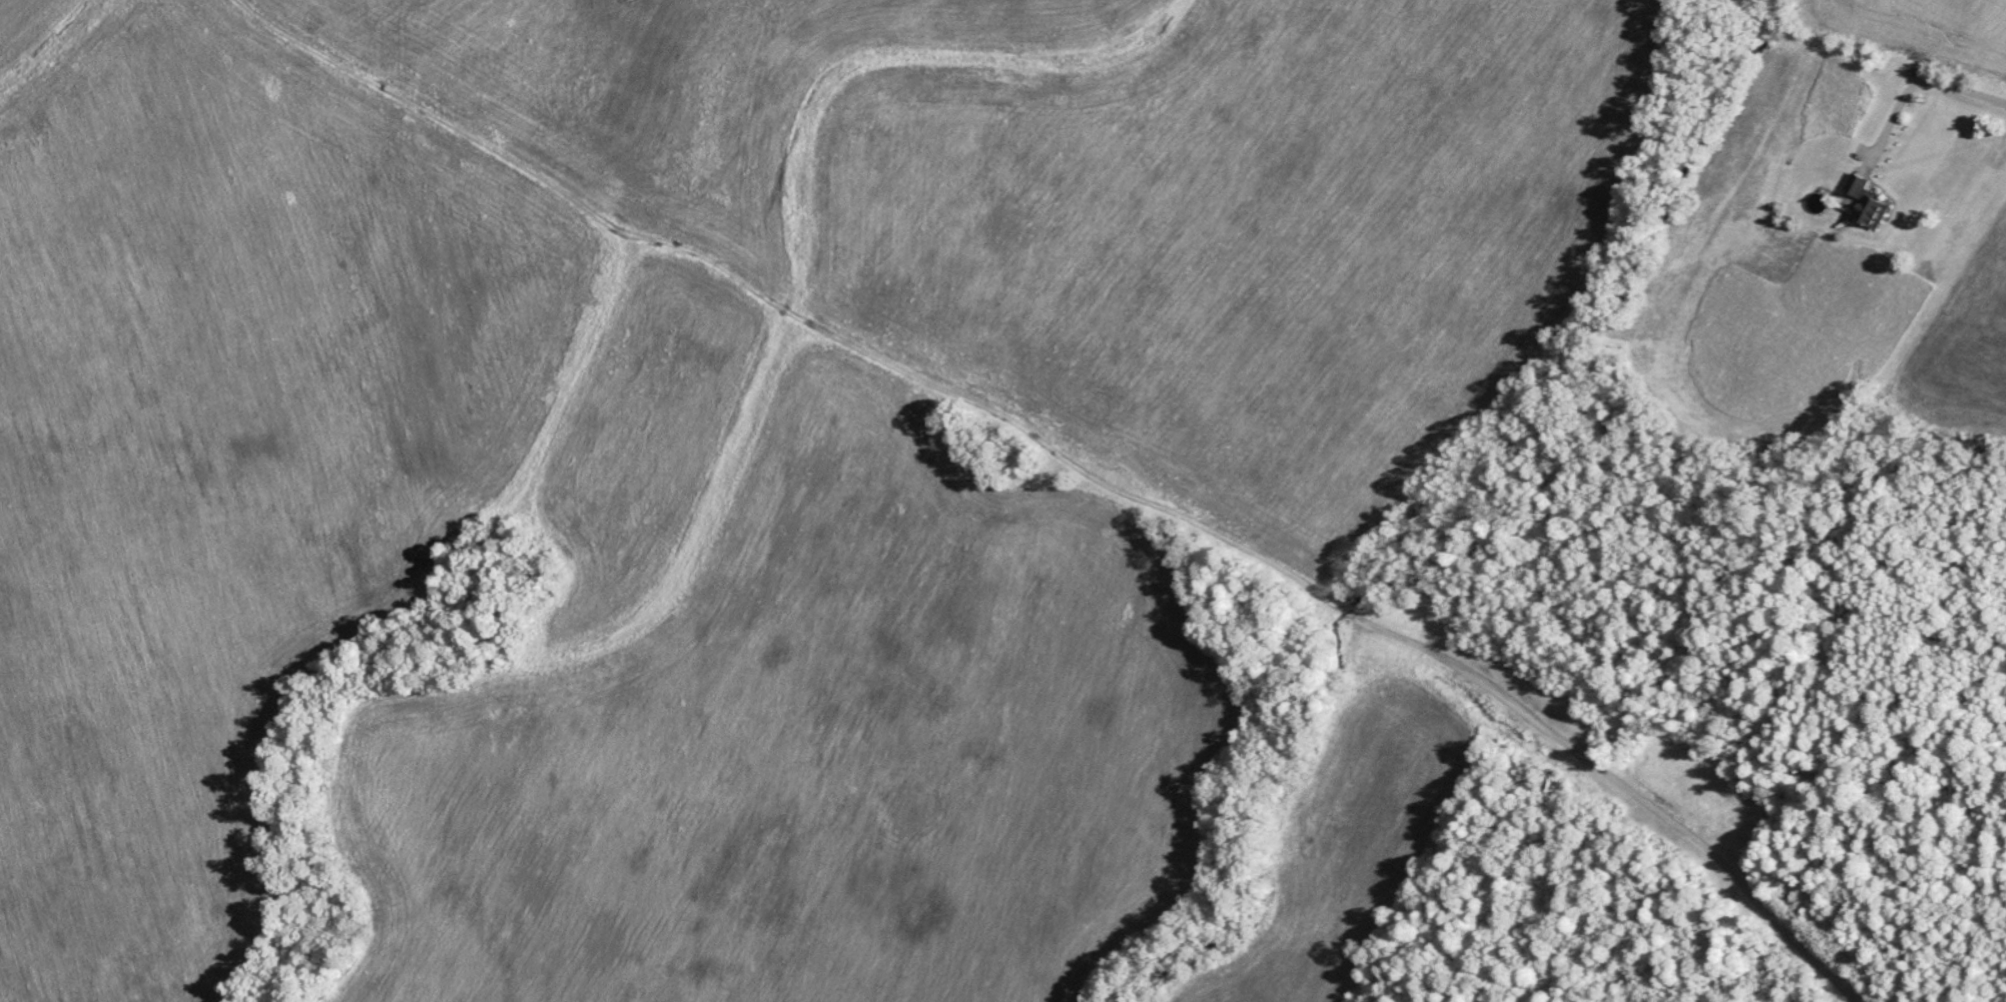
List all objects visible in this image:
road: (1967, 93)
road: (1892, 118)
building: (1865, 204)
road: (1557, 736)

